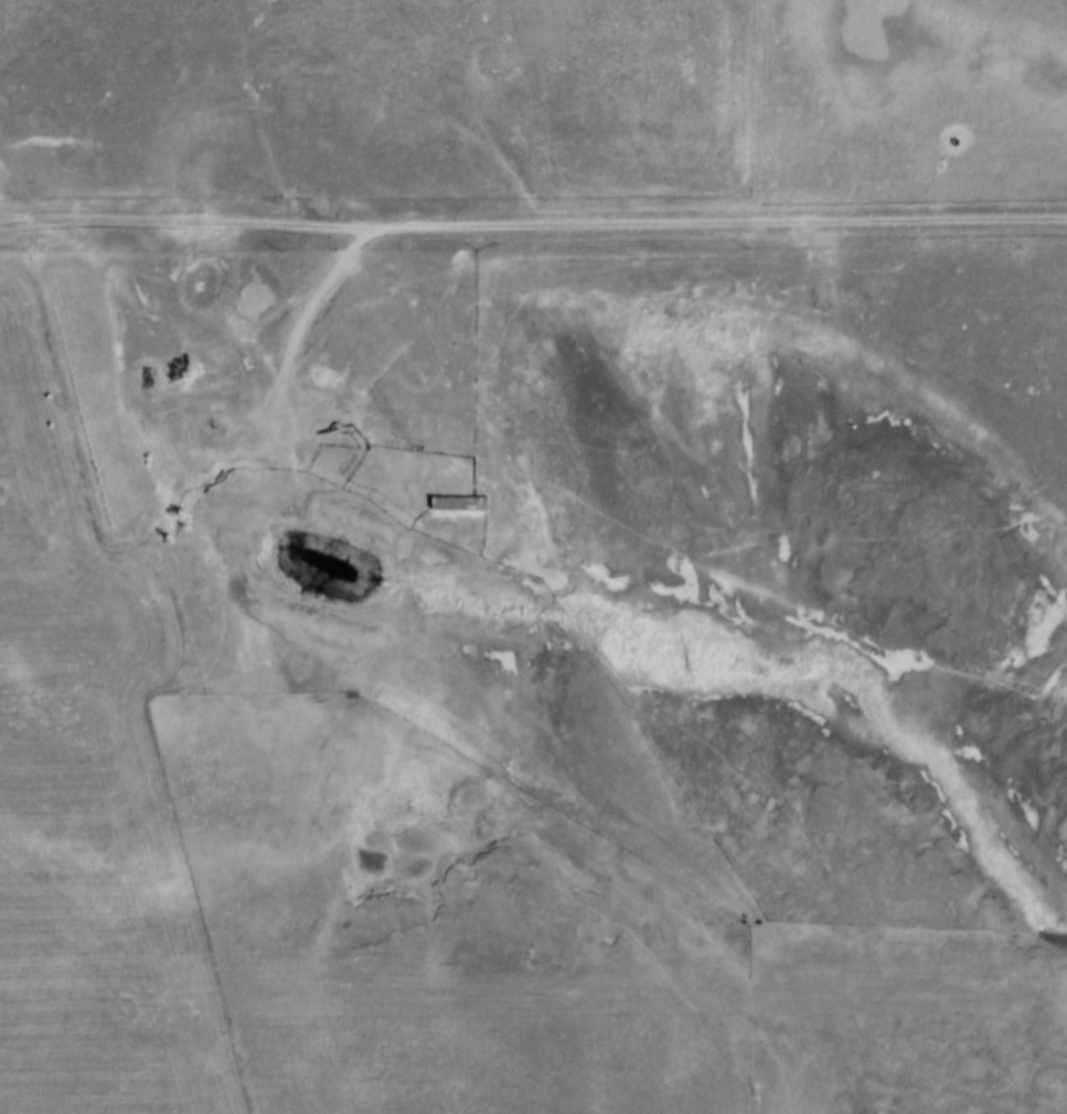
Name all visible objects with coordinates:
road: (533, 228)
road: (300, 326)
building: (455, 505)

